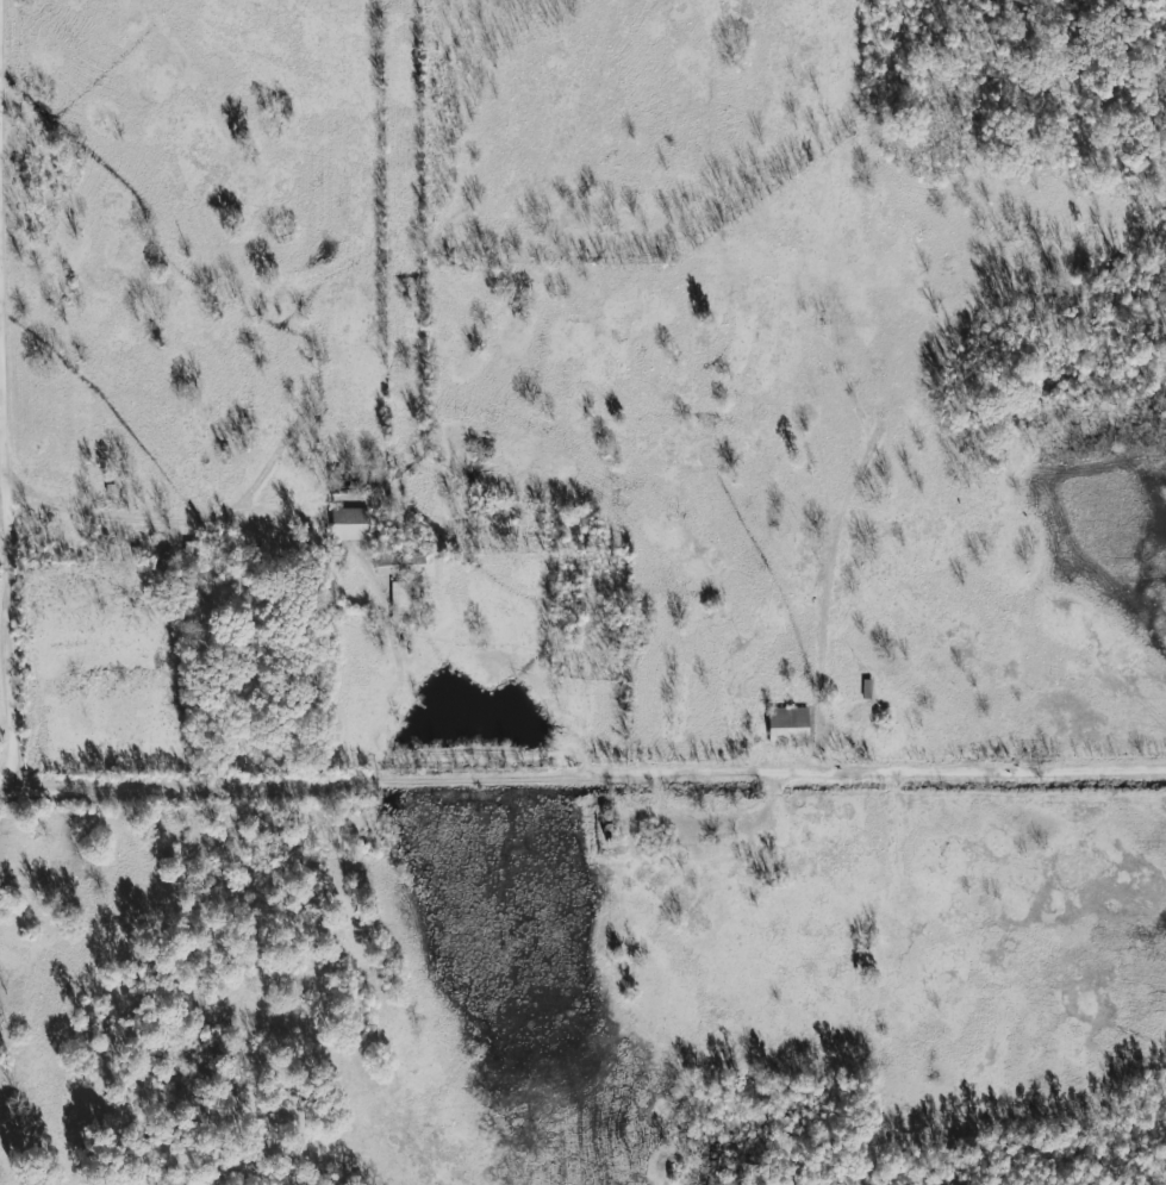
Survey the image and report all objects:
road: (517, 382)
road: (13, 389)
building: (349, 523)
road: (188, 526)
building: (399, 562)
building: (403, 601)
building: (788, 725)
road: (588, 765)
road: (6, 781)

